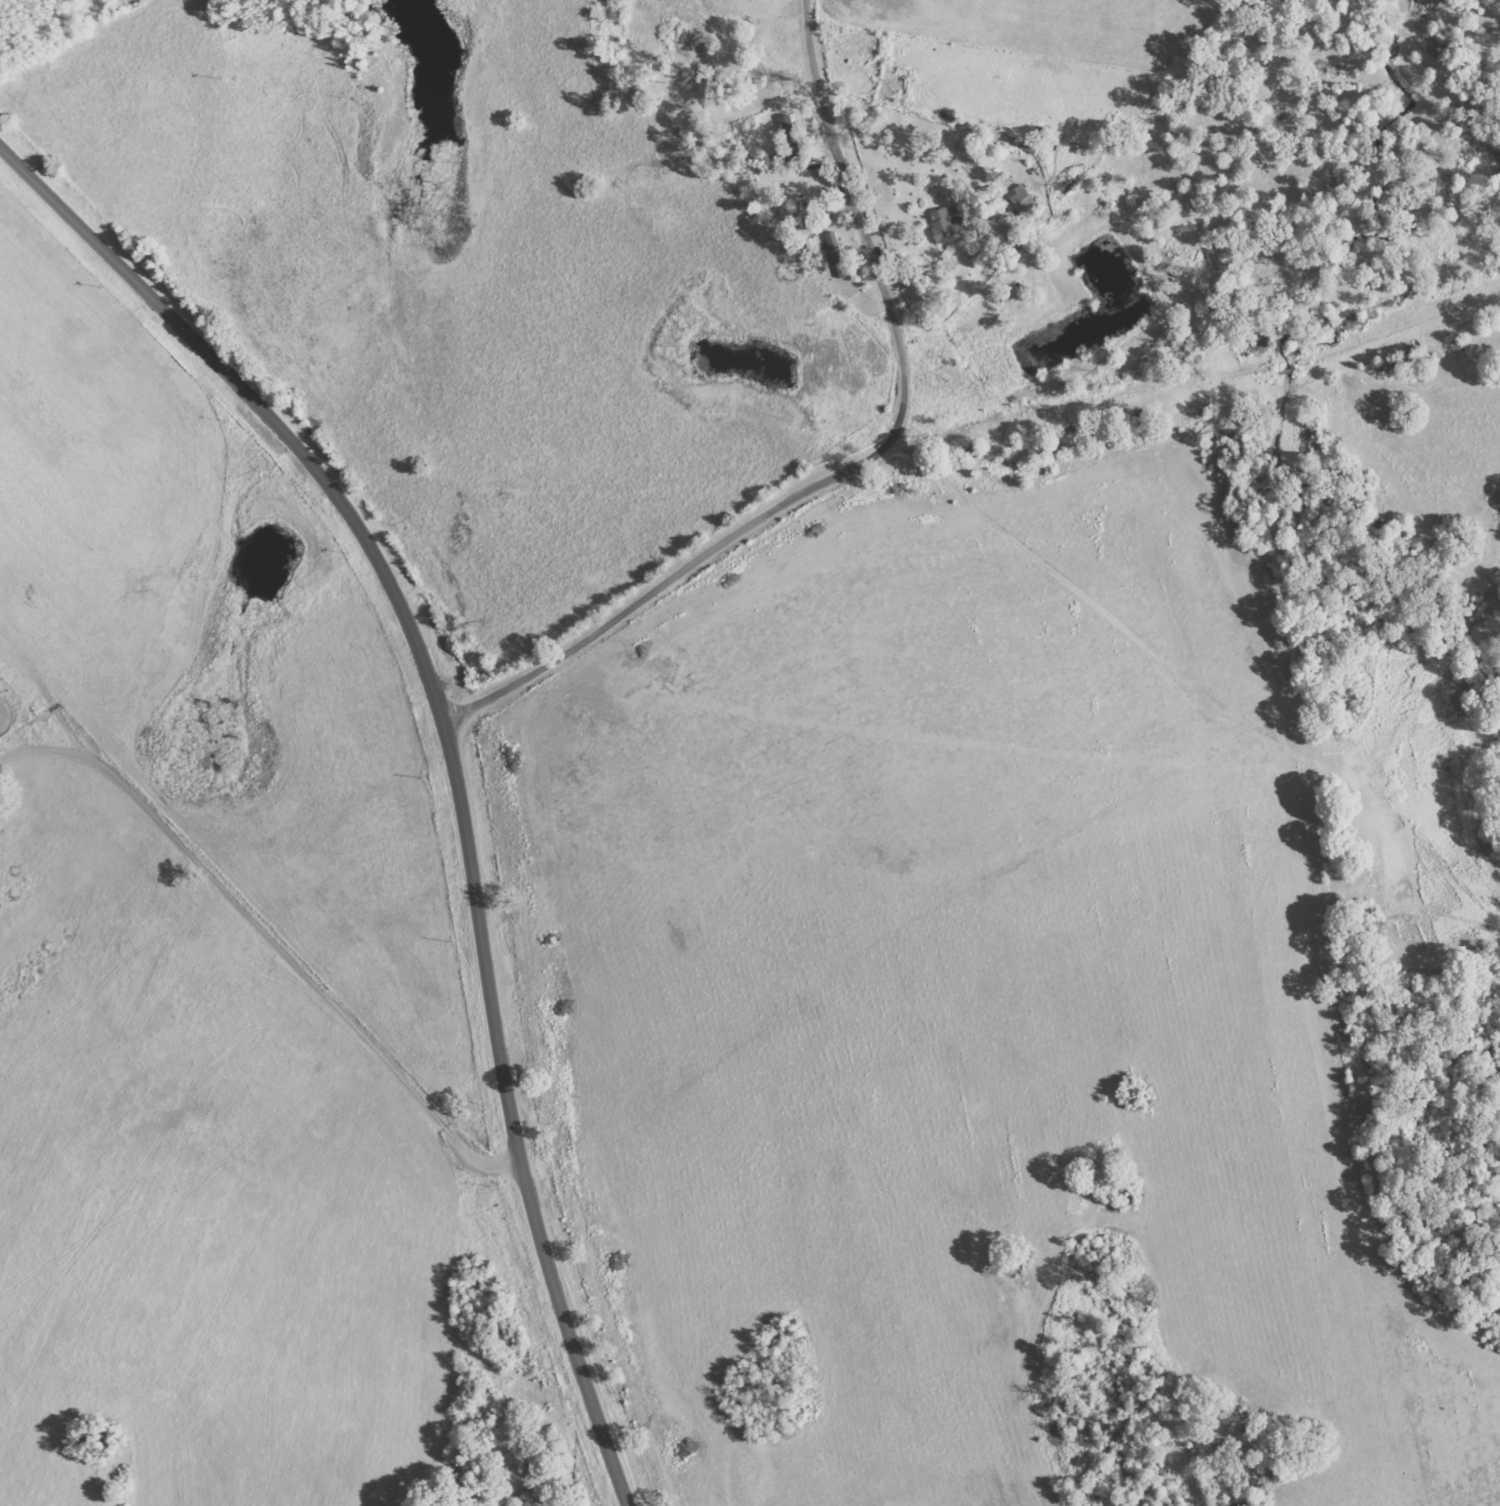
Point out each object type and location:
building: (984, 198)
building: (1025, 208)
building: (945, 226)
road: (861, 462)
road: (452, 756)
road: (274, 983)

